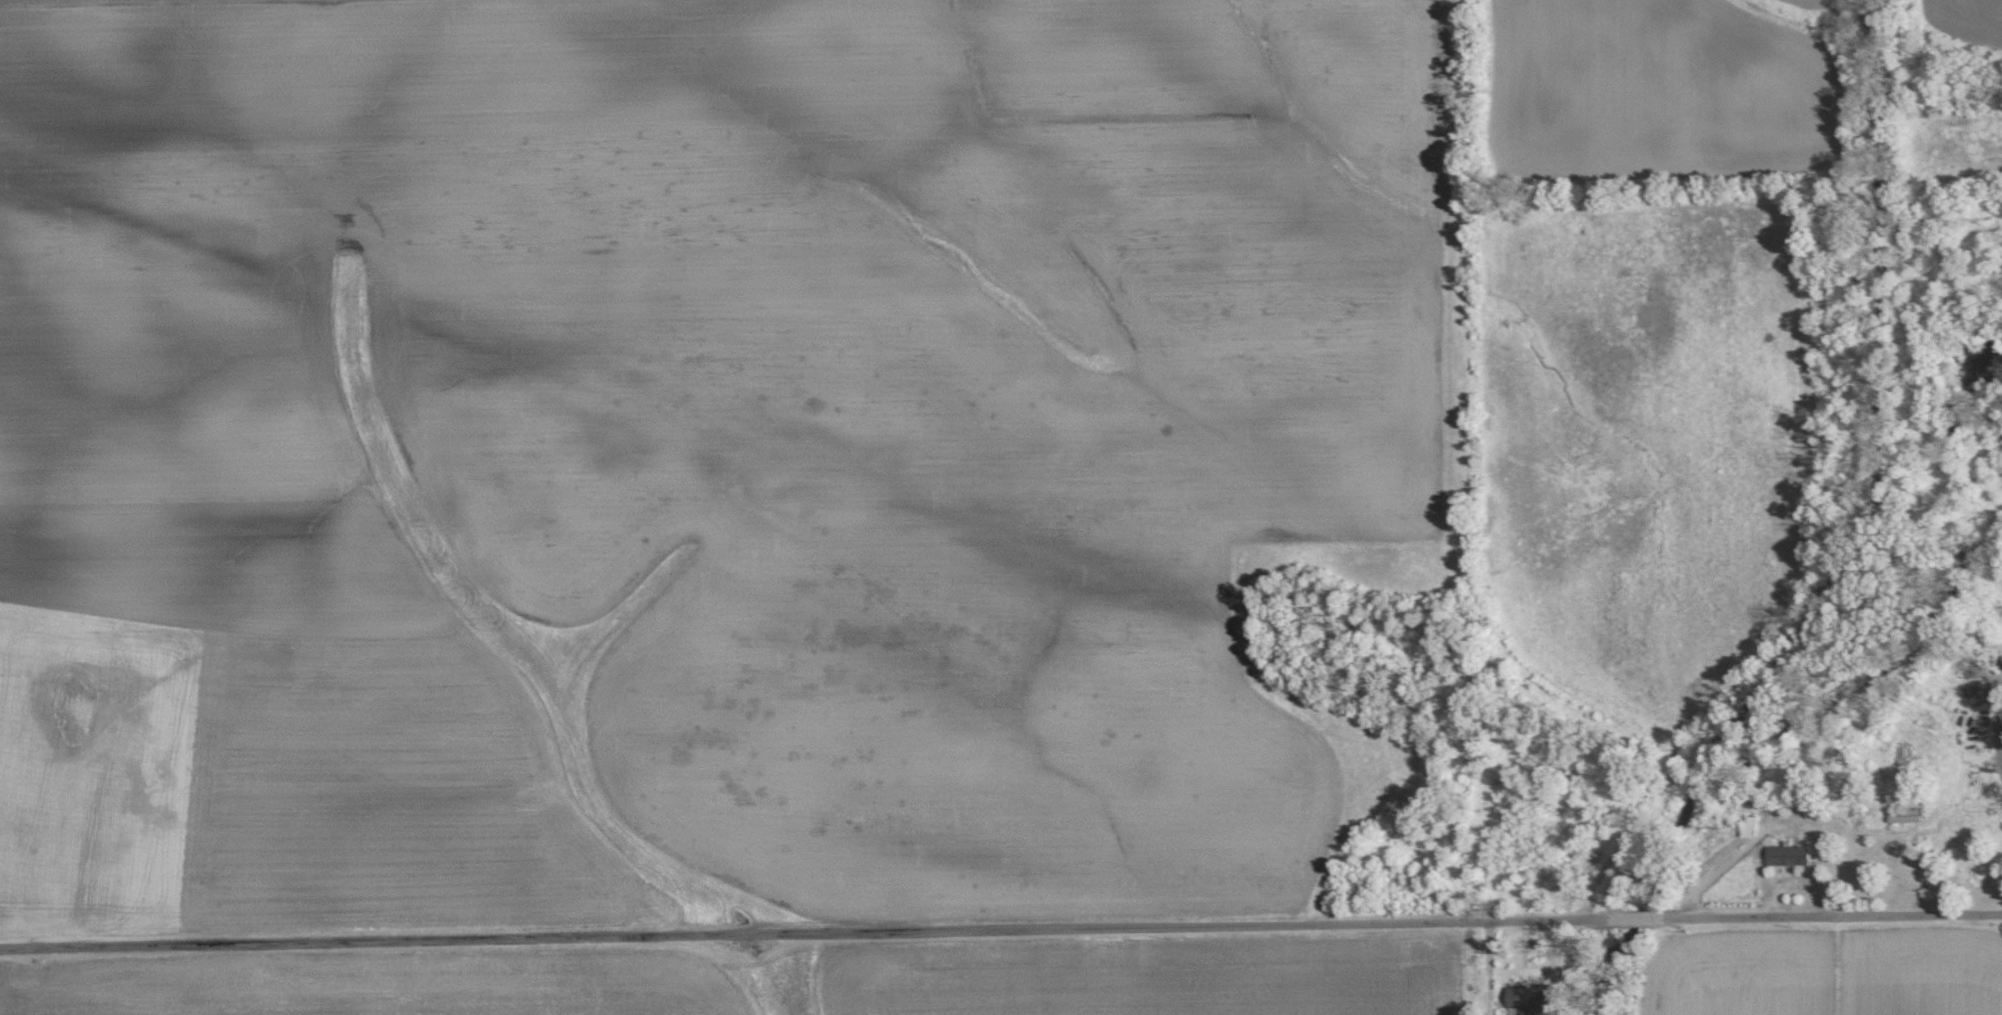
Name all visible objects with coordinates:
building: (1785, 856)
road: (1000, 929)

